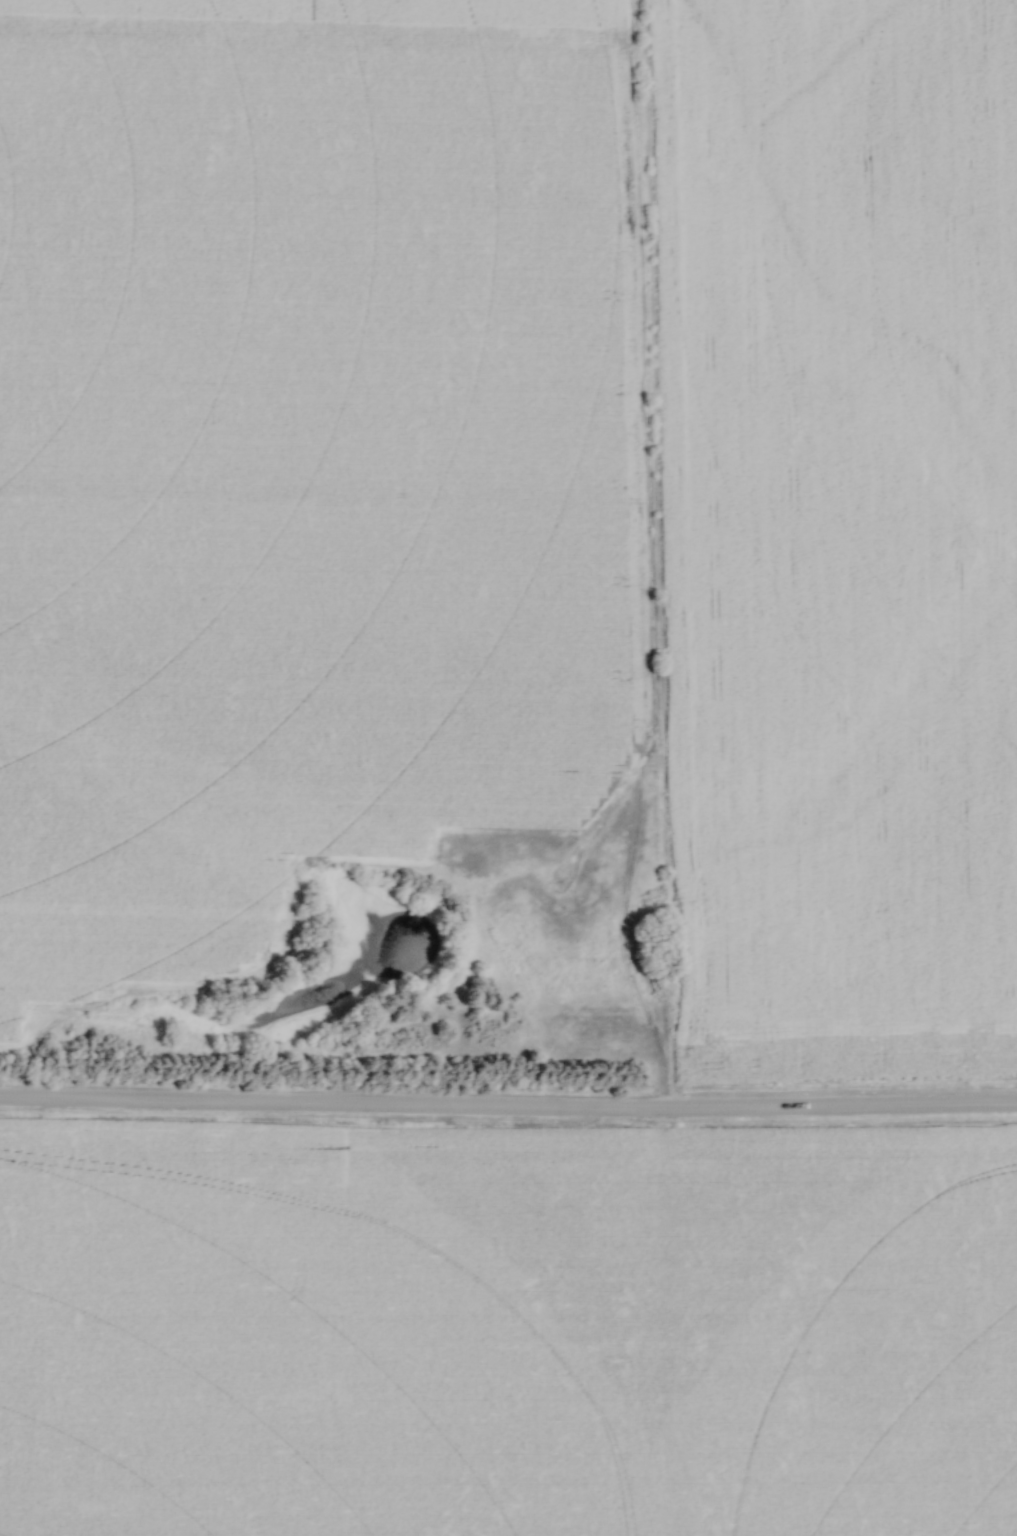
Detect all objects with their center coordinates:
road: (508, 1110)

